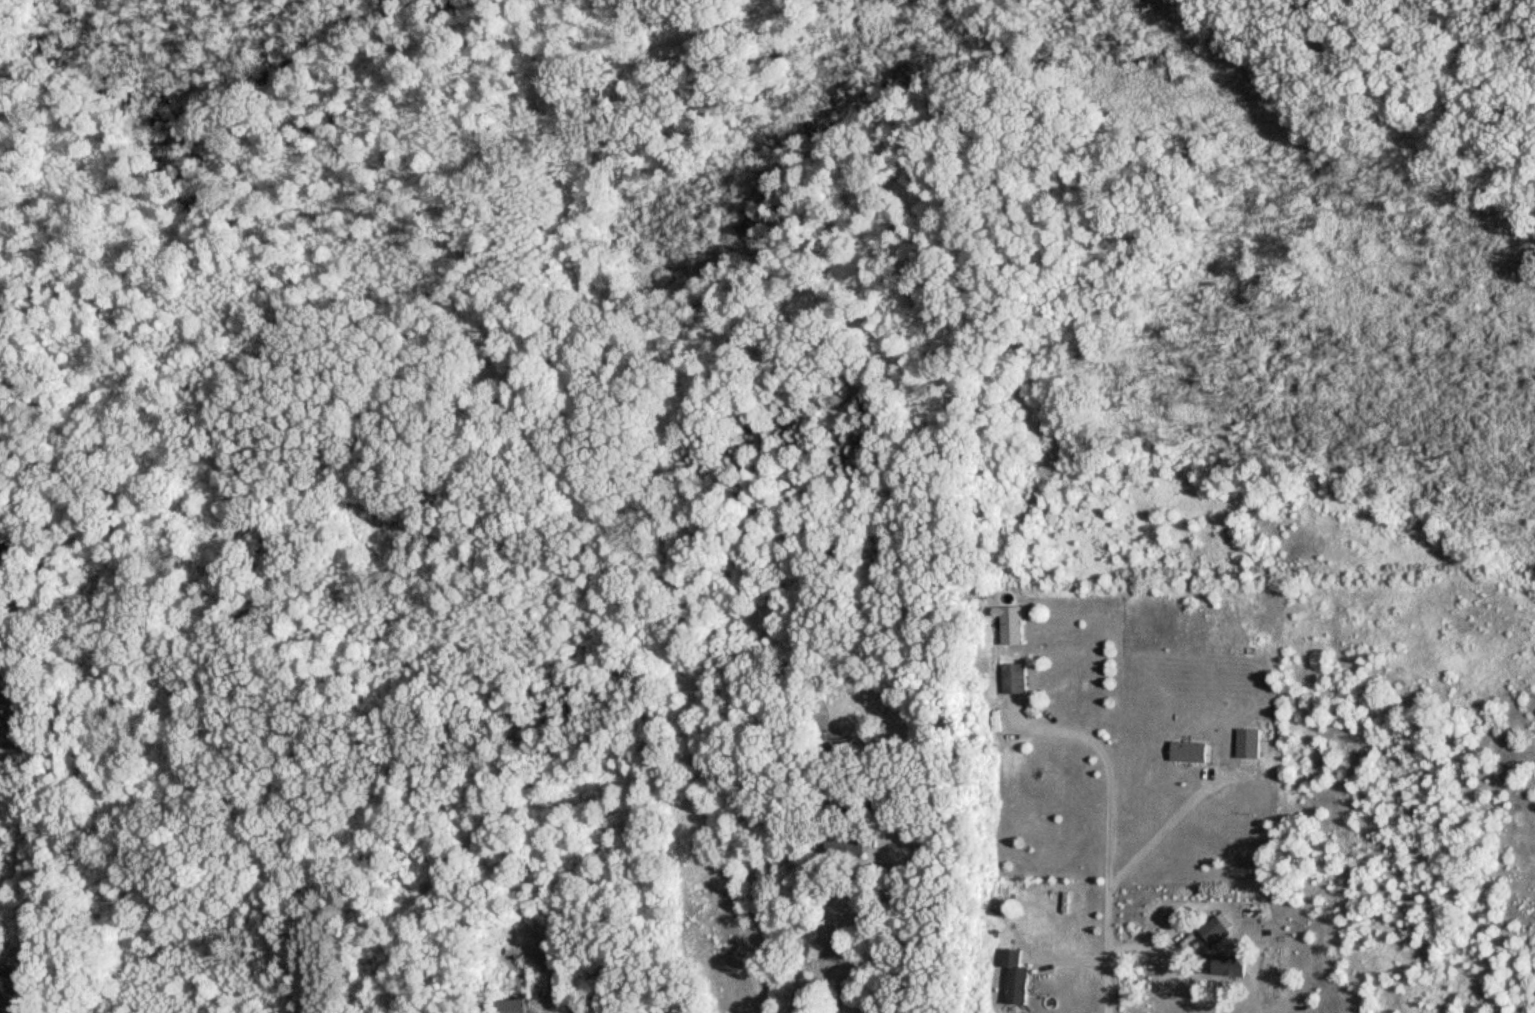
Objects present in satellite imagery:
building: (1014, 627)
building: (1015, 680)
building: (1248, 746)
building: (837, 751)
building: (1189, 754)
road: (1154, 831)
road: (1105, 834)
building: (846, 846)
building: (1215, 933)
road: (828, 936)
building: (1230, 968)
building: (1016, 979)
building: (509, 1007)

